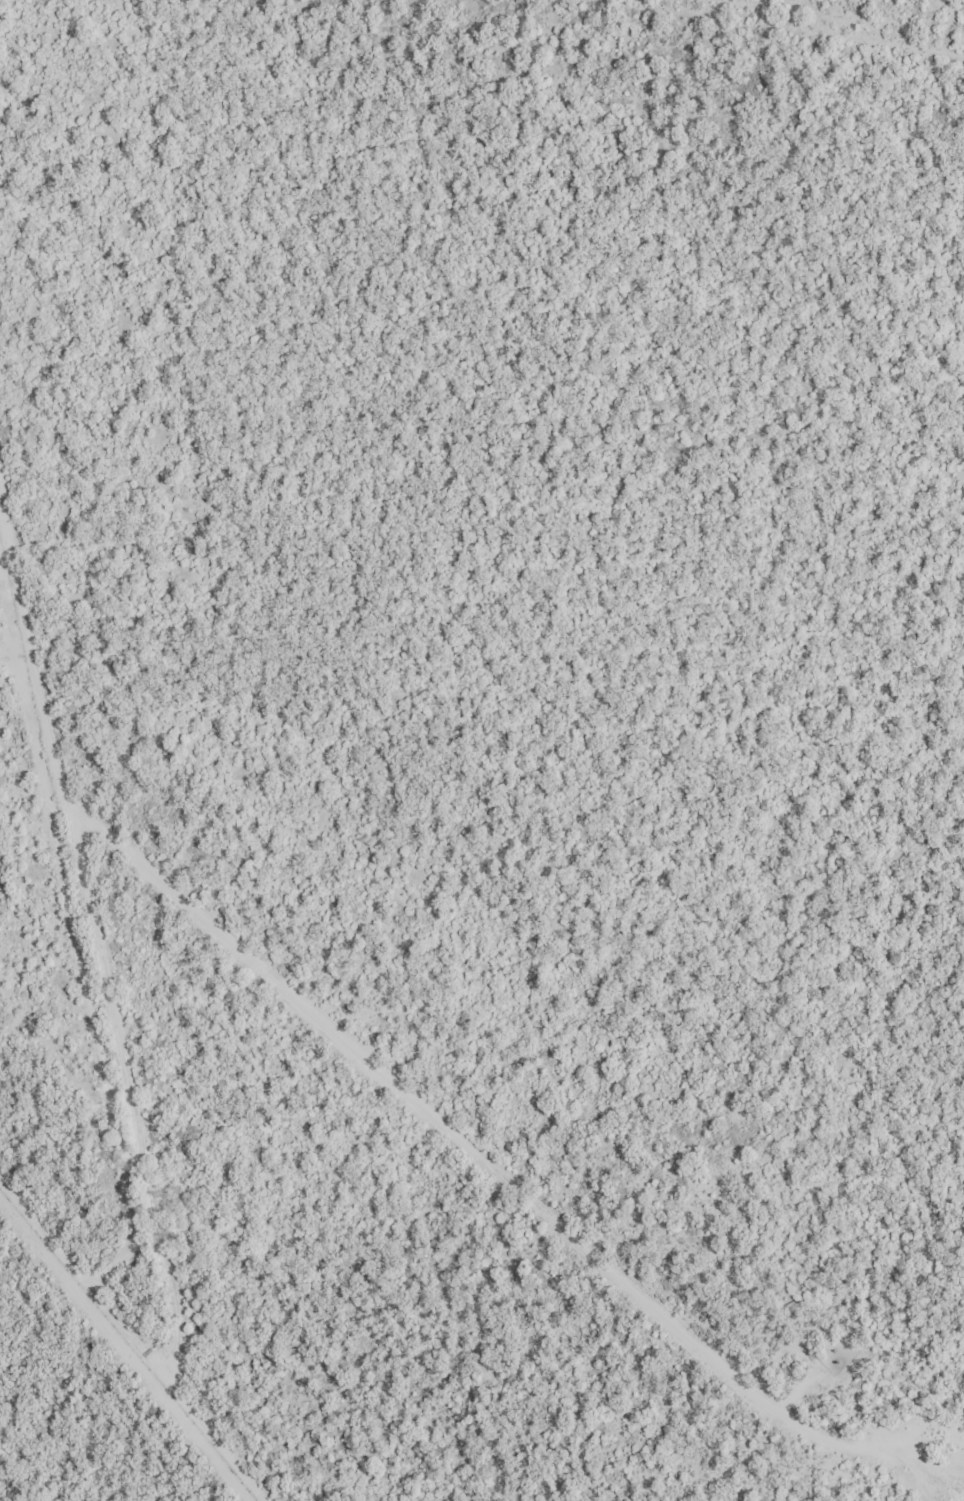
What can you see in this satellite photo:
road: (97, 920)
road: (136, 1338)

